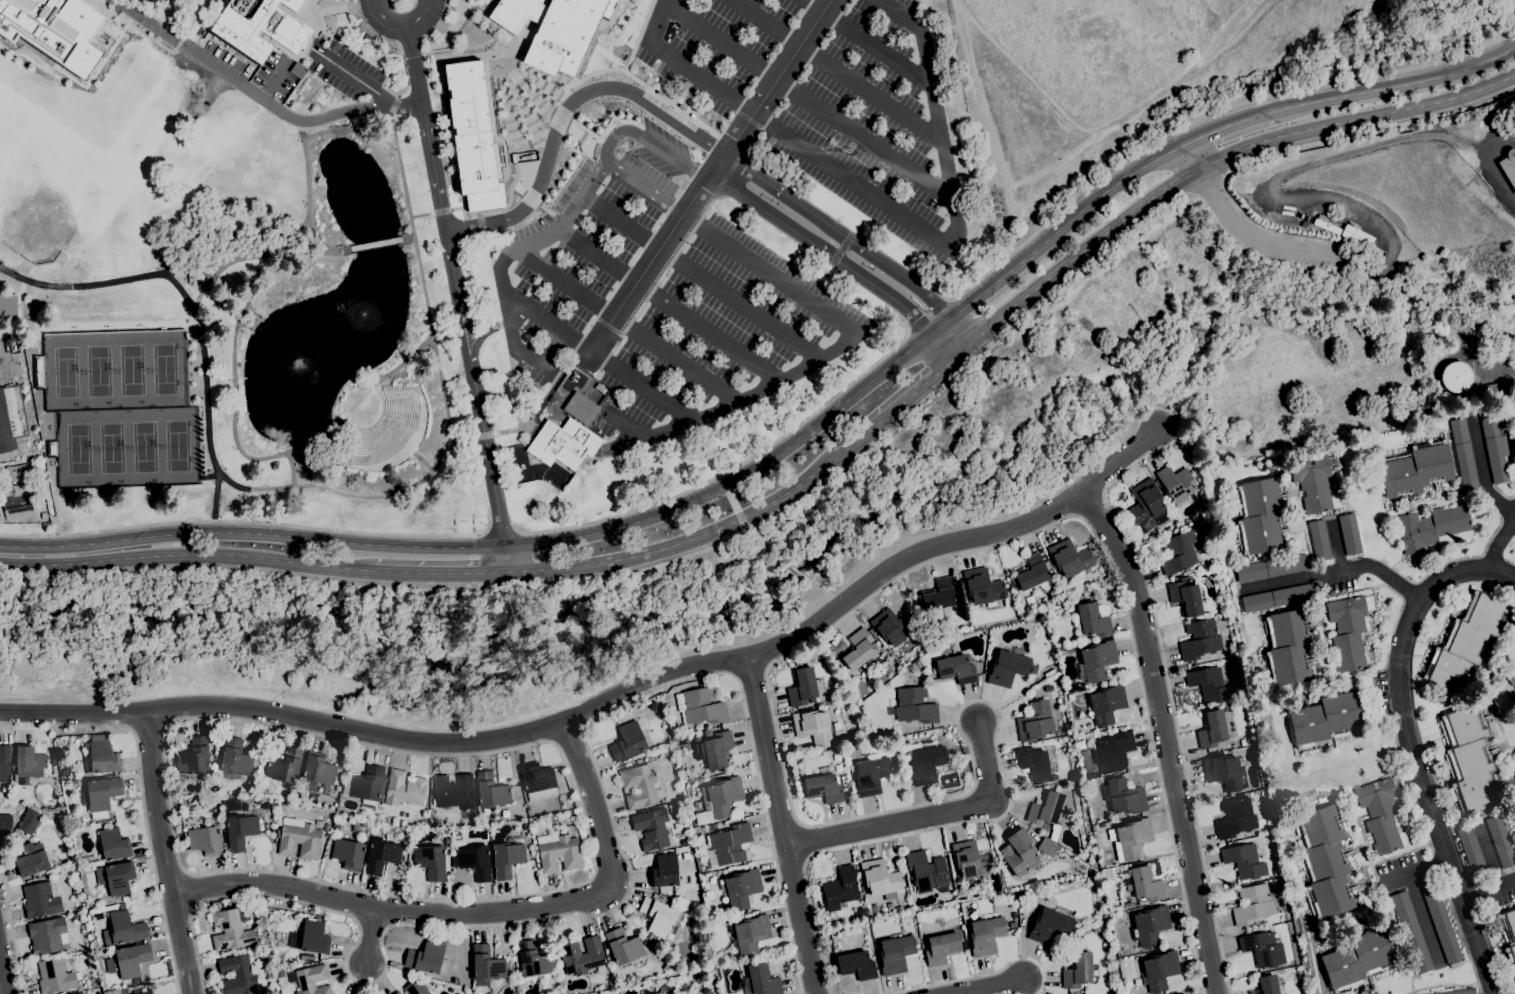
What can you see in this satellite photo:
road: (658, 20)
road: (147, 23)
road: (400, 23)
building: (260, 26)
building: (56, 28)
building: (553, 28)
road: (638, 35)
building: (371, 42)
road: (866, 42)
building: (271, 43)
road: (391, 45)
road: (442, 50)
road: (1028, 67)
parking lot: (344, 69)
road: (836, 71)
park: (1158, 75)
road: (356, 78)
road: (1396, 85)
parking lot: (826, 98)
road: (976, 101)
road: (809, 102)
road: (1247, 102)
road: (671, 103)
road: (395, 105)
road: (404, 105)
road: (551, 105)
road: (1138, 106)
road: (551, 109)
road: (277, 110)
road: (560, 116)
park: (9, 117)
road: (1356, 119)
road: (1227, 126)
road: (425, 128)
road: (579, 131)
building: (474, 135)
road: (1506, 138)
road: (650, 139)
road: (587, 145)
road: (305, 149)
road: (550, 155)
road: (1189, 156)
building: (1509, 168)
road: (402, 175)
road: (711, 177)
road: (532, 196)
road: (548, 208)
road: (440, 210)
road: (493, 210)
road: (421, 214)
road: (479, 214)
road: (814, 215)
park: (39, 216)
road: (905, 218)
road: (481, 225)
road: (1009, 226)
road: (408, 237)
road: (289, 240)
road: (376, 244)
road: (1079, 251)
road: (1347, 259)
road: (837, 262)
road: (171, 269)
building: (195, 277)
road: (698, 277)
road: (979, 278)
road: (207, 284)
parking lot: (665, 296)
road: (667, 304)
road: (523, 305)
building: (6, 307)
road: (924, 313)
road: (624, 324)
road: (846, 328)
road: (503, 344)
road: (518, 345)
road: (1, 358)
parking lot: (3, 359)
park: (164, 368)
park: (131, 369)
park: (98, 370)
park: (65, 371)
building: (1455, 377)
road: (862, 386)
building: (1497, 387)
road: (475, 389)
road: (901, 402)
building: (581, 408)
building: (11, 417)
building: (385, 427)
road: (483, 435)
road: (462, 438)
building: (563, 443)
park: (177, 444)
park: (144, 445)
building: (1495, 446)
park: (111, 447)
park: (78, 448)
building: (1464, 454)
building: (1513, 455)
road: (258, 457)
road: (291, 468)
building: (1416, 469)
road: (728, 470)
building: (17, 472)
road: (1484, 477)
building: (1315, 484)
building: (1176, 485)
road: (339, 491)
road: (215, 497)
road: (732, 501)
building: (1145, 502)
building: (19, 503)
road: (1089, 507)
building: (1258, 517)
road: (247, 521)
building: (1433, 530)
road: (502, 531)
road: (936, 532)
road: (251, 533)
building: (1349, 534)
building: (1319, 540)
road: (678, 541)
road: (752, 541)
building: (1179, 552)
road: (185, 555)
road: (505, 558)
building: (1069, 558)
building: (1271, 568)
road: (1476, 568)
road: (786, 569)
road: (438, 571)
road: (1503, 571)
road: (1334, 572)
building: (1033, 574)
building: (981, 587)
building: (940, 594)
building: (1185, 598)
building: (1276, 598)
road: (827, 602)
building: (1092, 621)
building: (894, 626)
building: (1349, 630)
building: (1200, 640)
building: (1465, 641)
building: (1079, 646)
building: (1287, 647)
building: (1365, 649)
building: (858, 650)
building: (1096, 661)
building: (838, 666)
building: (1007, 668)
building: (955, 669)
building: (843, 671)
road: (747, 672)
building: (1510, 675)
road: (1165, 676)
building: (1208, 684)
building: (849, 686)
building: (802, 687)
road: (607, 696)
road: (769, 699)
building: (1106, 704)
building: (914, 706)
building: (699, 707)
road: (428, 720)
building: (1326, 720)
building: (1035, 721)
road: (149, 727)
building: (813, 727)
building: (1211, 729)
road: (568, 734)
road: (1166, 736)
building: (627, 742)
building: (1115, 749)
building: (717, 750)
building: (100, 754)
building: (194, 757)
building: (1468, 759)
building: (236, 760)
building: (31, 761)
building: (5, 763)
building: (926, 764)
building: (1034, 764)
building: (285, 767)
building: (1223, 772)
building: (1514, 773)
building: (318, 774)
building: (870, 774)
building: (537, 778)
building: (638, 785)
building: (368, 787)
building: (824, 787)
building: (6, 788)
building: (404, 789)
building: (490, 791)
building: (454, 792)
building: (100, 795)
road: (142, 797)
building: (722, 797)
building: (1125, 797)
road: (1427, 798)
building: (188, 802)
building: (234, 804)
building: (1048, 811)
building: (1382, 814)
road: (929, 816)
building: (1235, 817)
building: (551, 819)
building: (29, 821)
building: (535, 823)
building: (5, 824)
road: (783, 825)
building: (335, 827)
building: (651, 829)
building: (241, 831)
building: (1130, 838)
building: (205, 840)
building: (299, 840)
building: (1500, 841)
building: (113, 844)
building: (729, 844)
building: (1046, 847)
building: (1471, 851)
building: (1020, 852)
road: (165, 853)
building: (558, 853)
building: (348, 854)
building: (381, 855)
building: (506, 859)
building: (32, 860)
building: (1244, 860)
building: (430, 861)
building: (474, 861)
building: (1324, 862)
building: (971, 863)
road: (1420, 870)
building: (664, 871)
building: (927, 873)
building: (39, 875)
building: (116, 877)
building: (880, 879)
road: (579, 884)
building: (1144, 884)
road: (628, 888)
road: (1487, 888)
building: (742, 889)
building: (840, 889)
building: (687, 891)
building: (1023, 894)
building: (125, 897)
building: (41, 899)
building: (1127, 905)
building: (1253, 905)
road: (474, 913)
building: (288, 914)
building: (658, 916)
building: (74, 917)
building: (1440, 921)
building: (1012, 924)
building: (1150, 925)
building: (1049, 926)
building: (123, 928)
building: (231, 929)
building: (1411, 932)
road: (12, 935)
building: (751, 935)
building: (985, 935)
building: (1509, 935)
building: (47, 936)
building: (669, 936)
building: (311, 937)
road: (371, 939)
building: (623, 947)
building: (941, 948)
building: (1263, 949)
building: (895, 954)
building: (582, 956)
building: (306, 957)
building: (425, 957)
building: (533, 959)
building: (1358, 959)
building: (129, 961)
building: (487, 964)
building: (856, 965)
building: (667, 967)
building: (1159, 970)
building: (280, 971)
building: (1077, 971)
building: (56, 975)
building: (237, 975)
road: (983, 975)
road: (3, 977)
building: (312, 980)
building: (135, 981)
building: (760, 981)
building: (1265, 985)
road: (988, 986)
building: (416, 987)
building: (648, 990)
building: (1459, 991)
building: (142, 992)
building: (78, 993)
building: (397, 993)
building: (1182, 993)

